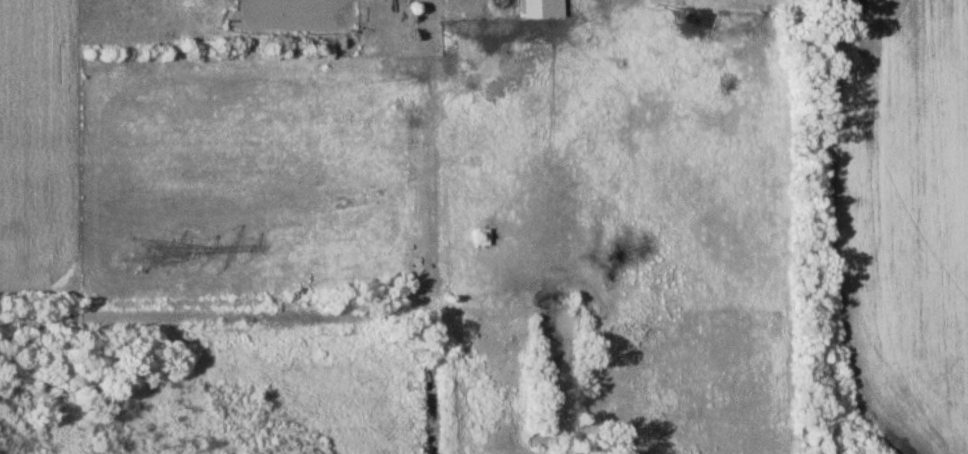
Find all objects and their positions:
building: (542, 9)
power tower: (141, 256)
road: (360, 316)

